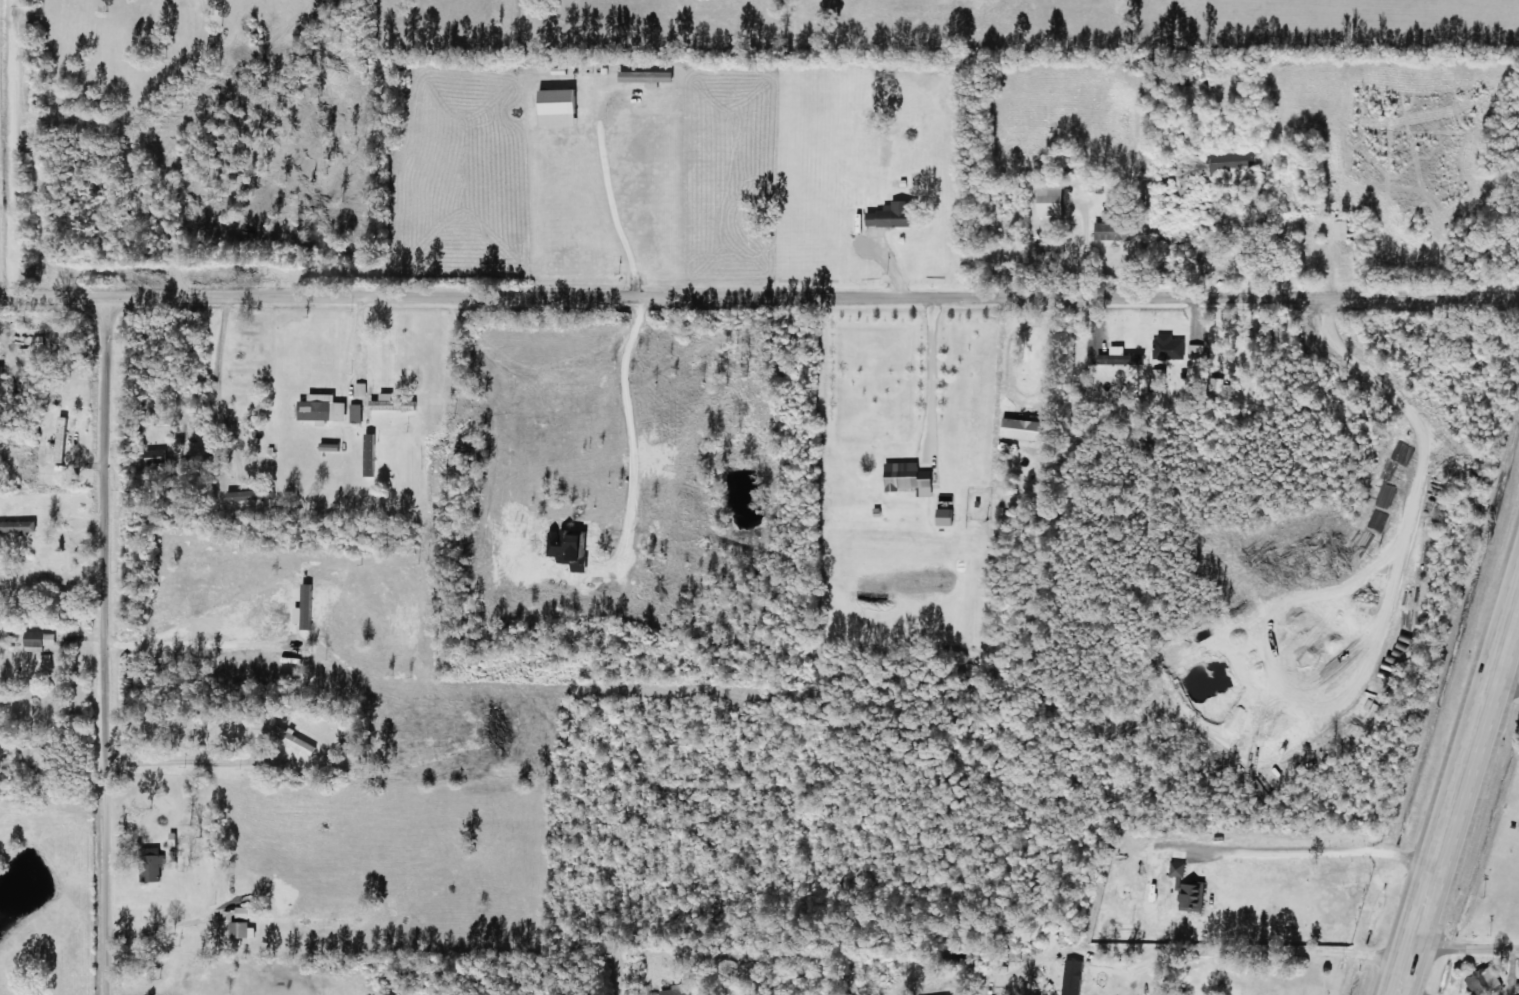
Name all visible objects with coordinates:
building: (644, 77)
building: (553, 108)
road: (33, 151)
building: (1229, 160)
building: (1047, 201)
building: (888, 215)
building: (1111, 230)
building: (1339, 230)
road: (51, 300)
road: (811, 305)
building: (1217, 385)
building: (361, 388)
building: (393, 403)
building: (323, 407)
building: (357, 412)
road: (1213, 422)
building: (1019, 429)
building: (63, 439)
building: (371, 454)
building: (157, 456)
building: (905, 477)
building: (251, 494)
building: (943, 516)
building: (19, 526)
building: (40, 640)
road: (112, 646)
building: (35, 758)
road: (1457, 792)
building: (173, 839)
building: (153, 864)
building: (244, 922)
road: (1464, 952)
building: (1072, 977)
building: (1482, 980)
building: (680, 990)

